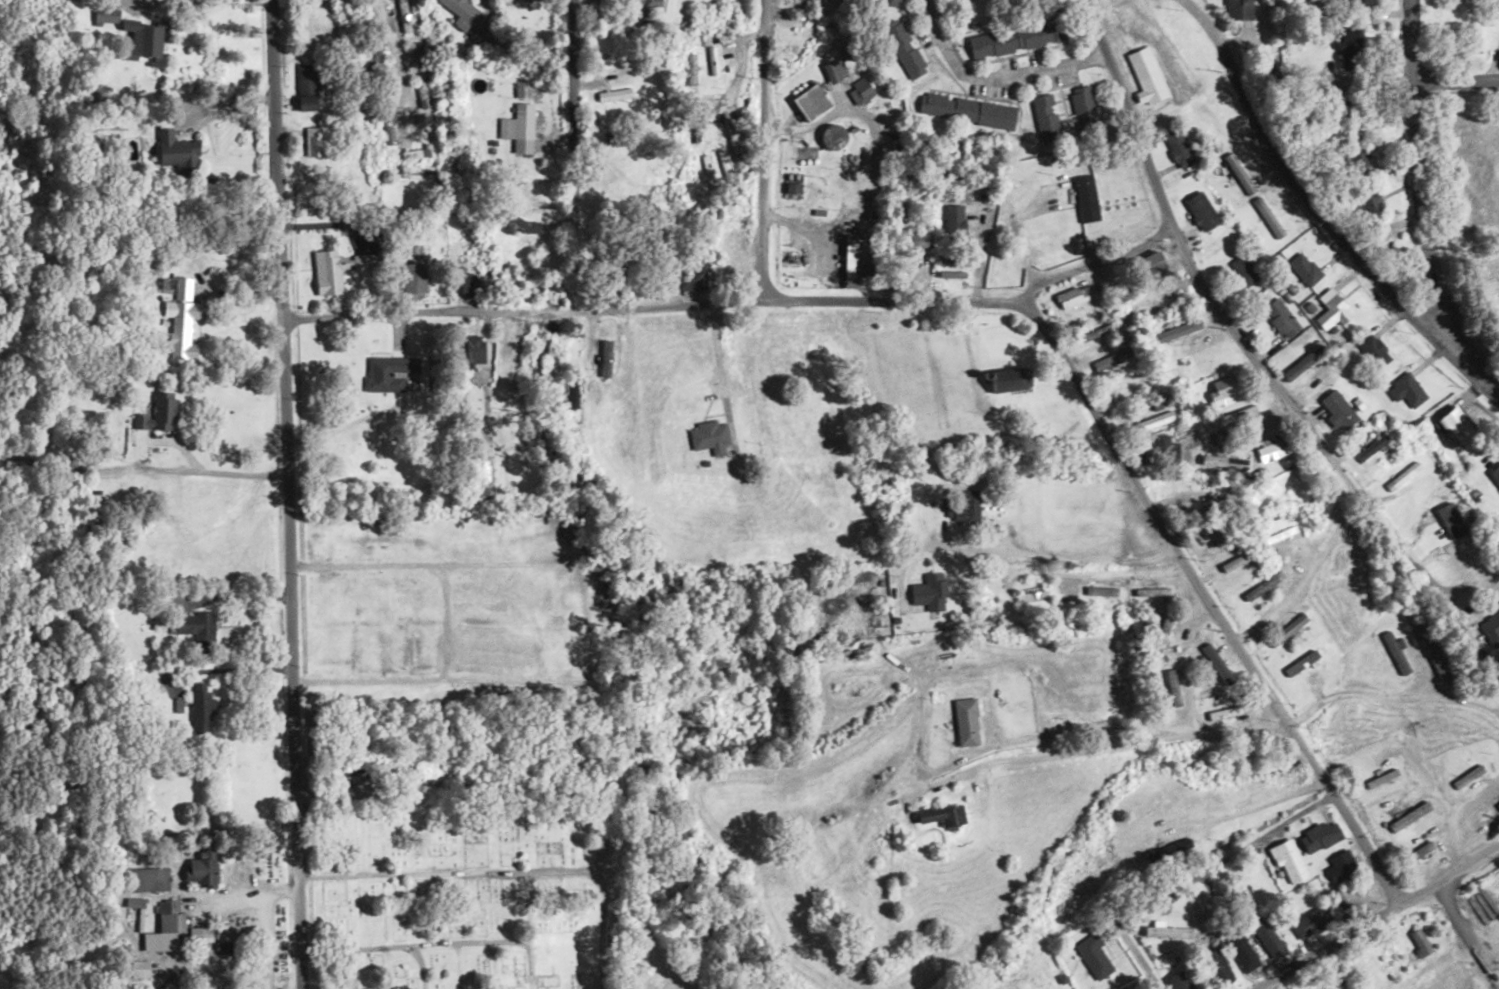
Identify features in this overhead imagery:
building: (1352, 1)
building: (892, 2)
building: (637, 3)
building: (1239, 9)
building: (462, 13)
building: (402, 16)
building: (1016, 38)
building: (789, 40)
building: (905, 48)
road: (395, 51)
building: (415, 55)
building: (1349, 55)
building: (838, 69)
road: (1454, 72)
building: (1147, 74)
building: (305, 87)
building: (861, 91)
building: (421, 93)
building: (613, 96)
building: (810, 102)
building: (1083, 106)
building: (967, 110)
building: (1044, 118)
building: (521, 128)
building: (388, 130)
building: (312, 142)
building: (1179, 148)
road: (762, 149)
building: (174, 150)
road: (576, 155)
building: (1358, 162)
road: (1414, 171)
building: (792, 188)
building: (1086, 199)
building: (1370, 205)
road: (1000, 209)
road: (1324, 210)
building: (1201, 211)
building: (1267, 218)
building: (954, 219)
building: (909, 248)
building: (951, 255)
building: (853, 258)
road: (1092, 263)
building: (1149, 264)
building: (335, 269)
building: (1304, 269)
building: (1243, 270)
building: (692, 274)
building: (413, 278)
building: (463, 284)
road: (1205, 291)
building: (1072, 297)
road: (803, 299)
building: (1333, 313)
building: (181, 316)
road: (432, 316)
building: (1280, 318)
building: (1178, 331)
building: (1095, 332)
building: (603, 345)
building: (473, 349)
building: (1373, 351)
building: (1114, 358)
building: (1200, 360)
building: (389, 372)
building: (1005, 380)
building: (1409, 389)
building: (1131, 390)
building: (1222, 392)
road: (468, 400)
building: (1335, 411)
building: (157, 414)
building: (1225, 419)
building: (1152, 422)
building: (1455, 428)
building: (708, 437)
building: (1371, 448)
building: (1274, 449)
building: (1161, 452)
building: (1495, 474)
building: (1404, 475)
building: (1170, 482)
road: (289, 494)
building: (1279, 495)
building: (966, 508)
building: (1321, 514)
building: (1451, 519)
building: (120, 540)
road: (1087, 555)
building: (1235, 562)
building: (1336, 562)
road: (1084, 572)
building: (1261, 586)
building: (929, 594)
building: (1031, 601)
road: (1213, 605)
building: (195, 626)
building: (1490, 626)
building: (1286, 630)
building: (1161, 634)
building: (1395, 653)
building: (1433, 659)
building: (1302, 664)
building: (1215, 668)
building: (1172, 686)
building: (202, 708)
building: (1219, 714)
building: (965, 722)
building: (1381, 776)
building: (1468, 777)
building: (1498, 802)
building: (941, 814)
building: (1409, 816)
road: (1266, 833)
building: (1320, 836)
building: (1420, 851)
building: (1289, 861)
building: (1341, 865)
building: (201, 868)
building: (147, 879)
park: (472, 889)
building: (1347, 903)
building: (1201, 906)
road: (1378, 917)
building: (1313, 921)
building: (170, 922)
building: (204, 934)
building: (1269, 939)
building: (1420, 942)
building: (1243, 953)
building: (1095, 956)
building: (1218, 966)
building: (137, 968)
building: (1180, 981)

